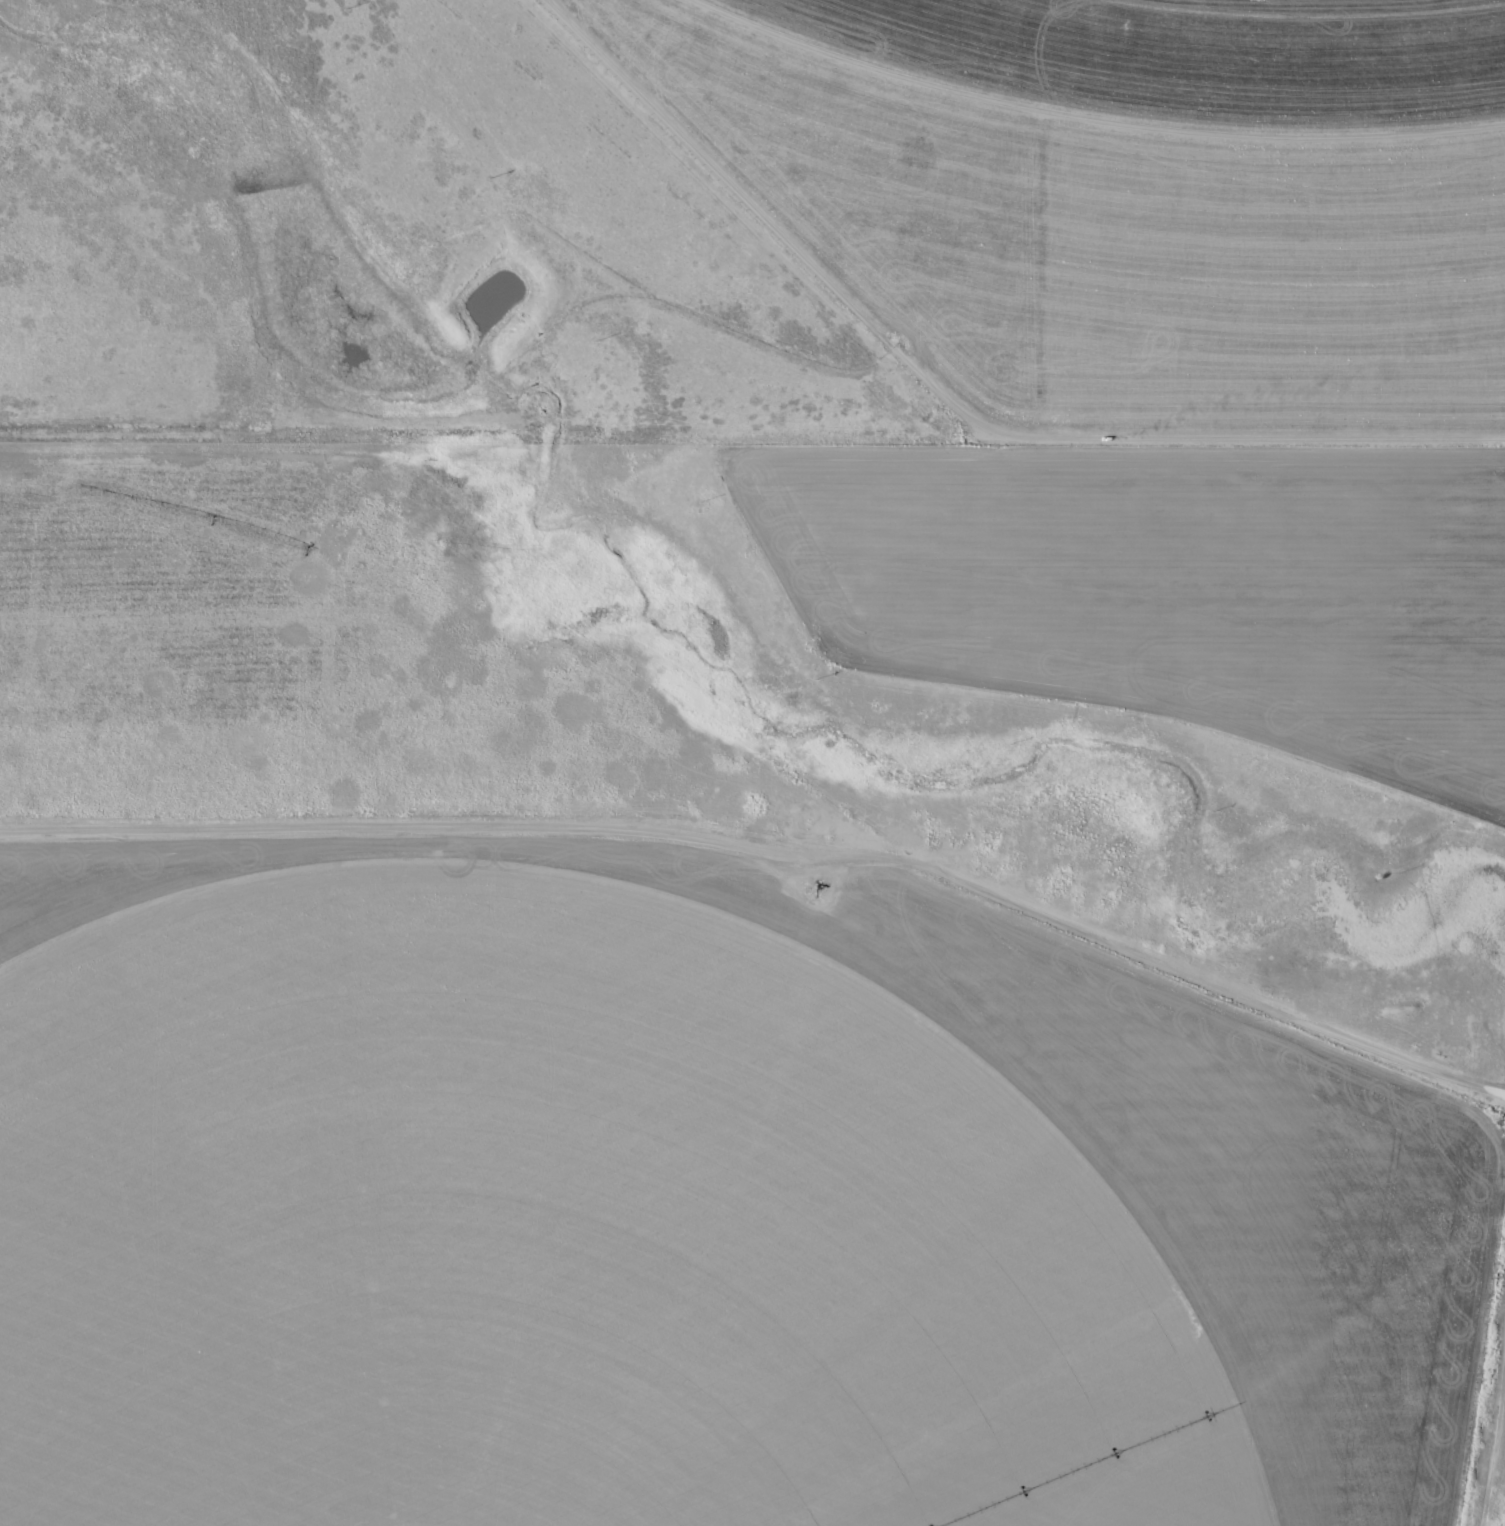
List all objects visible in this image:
road: (893, 454)

